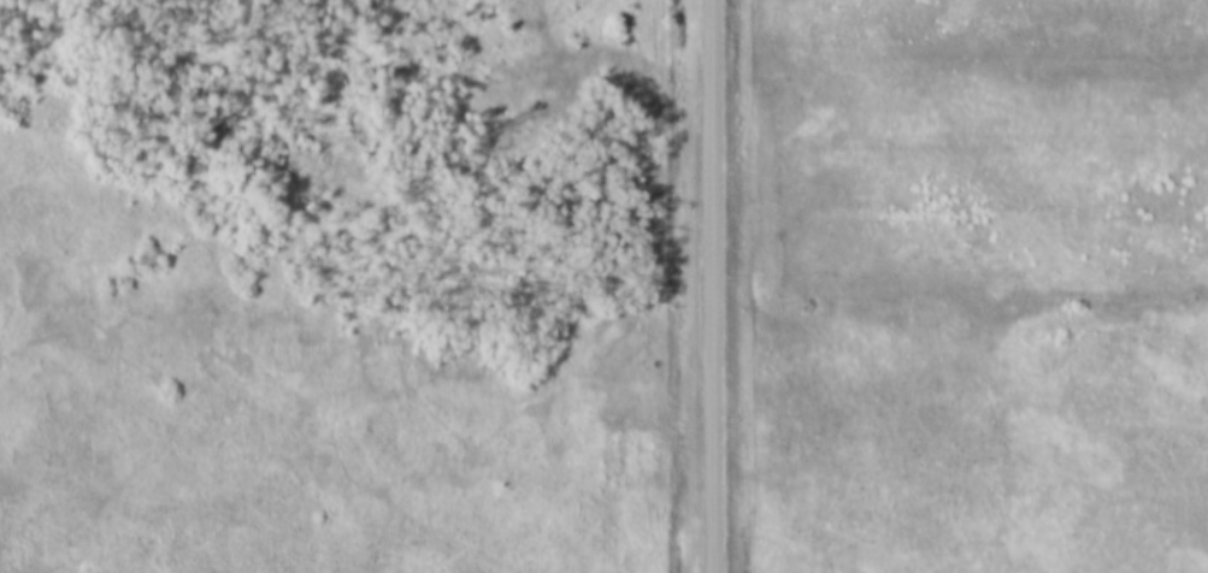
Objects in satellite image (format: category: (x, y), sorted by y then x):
road: (711, 286)

